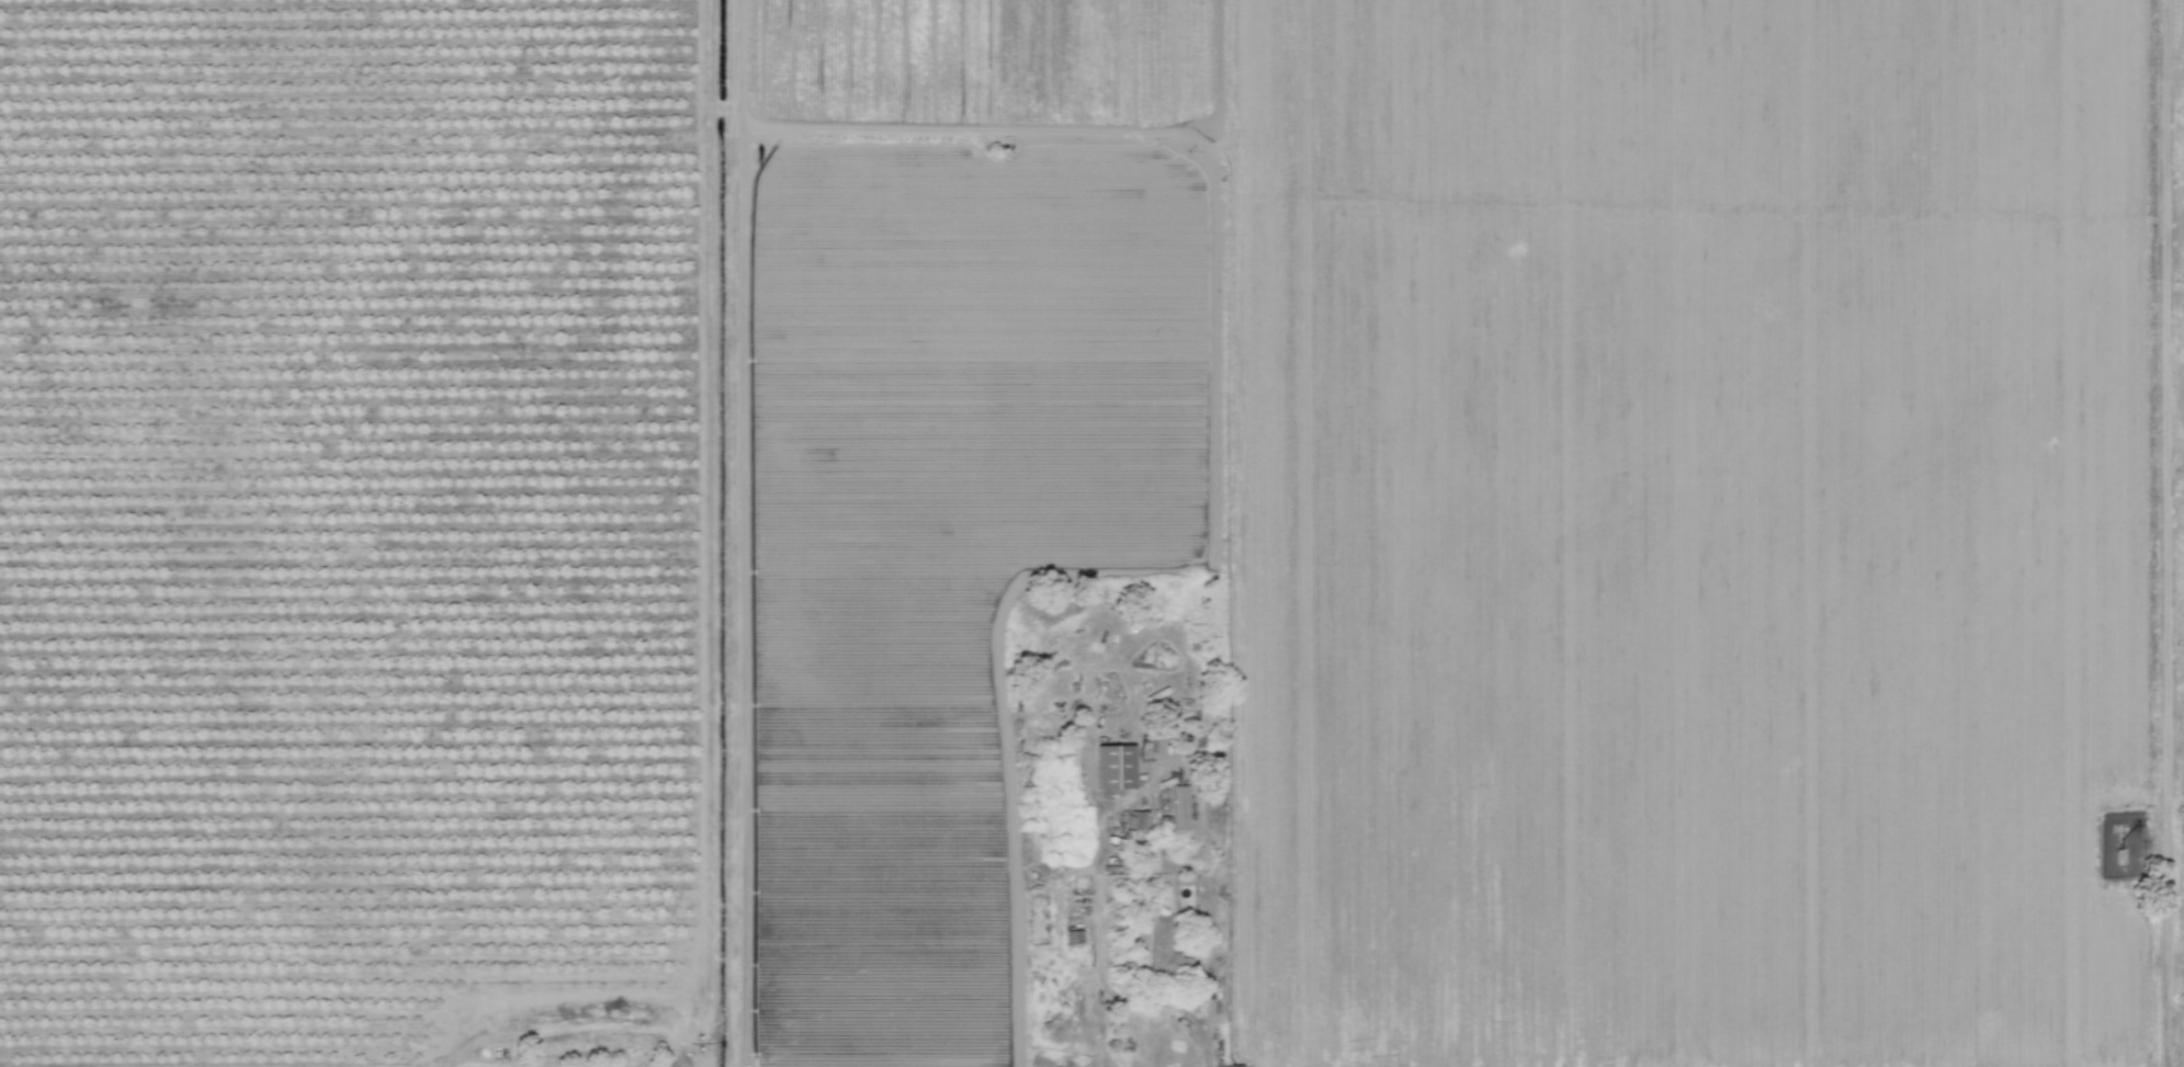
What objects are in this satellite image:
road: (2163, 533)
building: (1113, 767)
building: (1178, 807)
building: (1164, 946)
road: (1098, 955)

